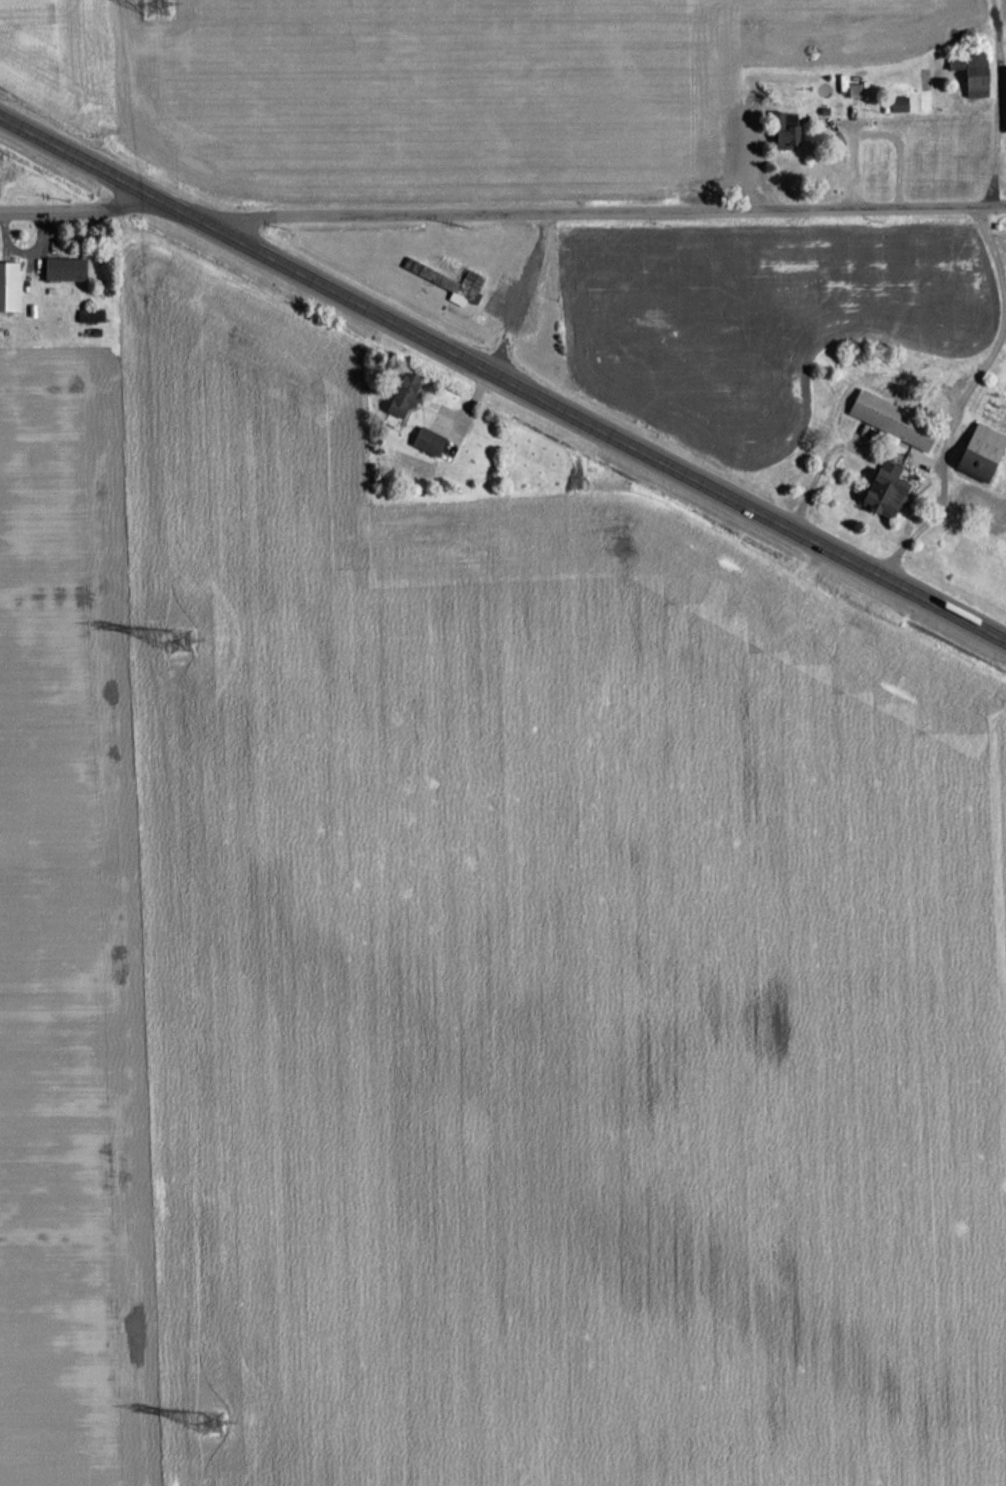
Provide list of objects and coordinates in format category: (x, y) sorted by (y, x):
crop: (425, 81)
building: (973, 86)
building: (783, 130)
crop: (0, 161)
road: (502, 205)
building: (62, 270)
building: (7, 287)
building: (462, 288)
crop: (751, 317)
road: (502, 369)
road: (963, 386)
building: (401, 395)
building: (889, 421)
building: (425, 442)
building: (979, 453)
building: (884, 490)
power tower: (183, 634)
crop: (469, 973)
power tower: (213, 1412)

